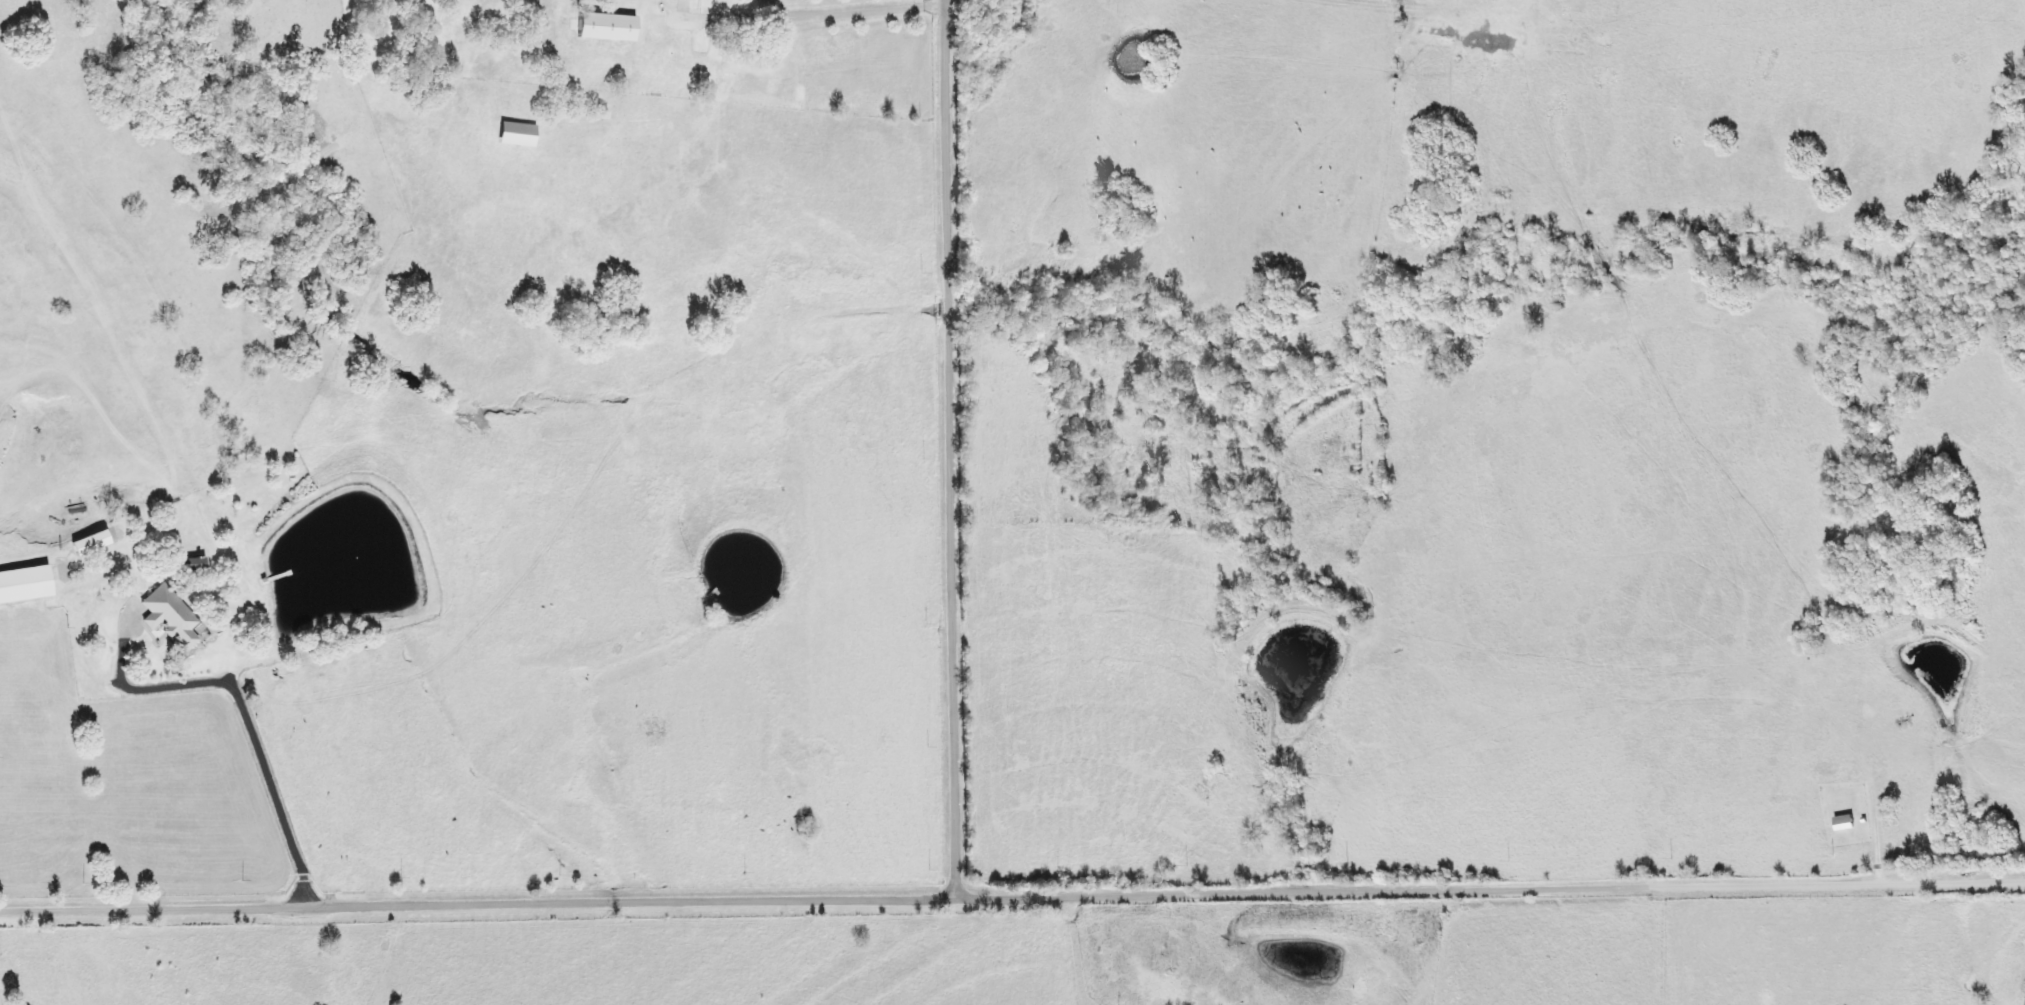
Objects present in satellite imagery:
building: (608, 27)
road: (1200, 38)
building: (518, 134)
road: (541, 383)
road: (954, 447)
building: (94, 541)
building: (196, 563)
building: (26, 582)
building: (173, 615)
road: (296, 665)
building: (1848, 822)
road: (1813, 879)
road: (801, 897)

